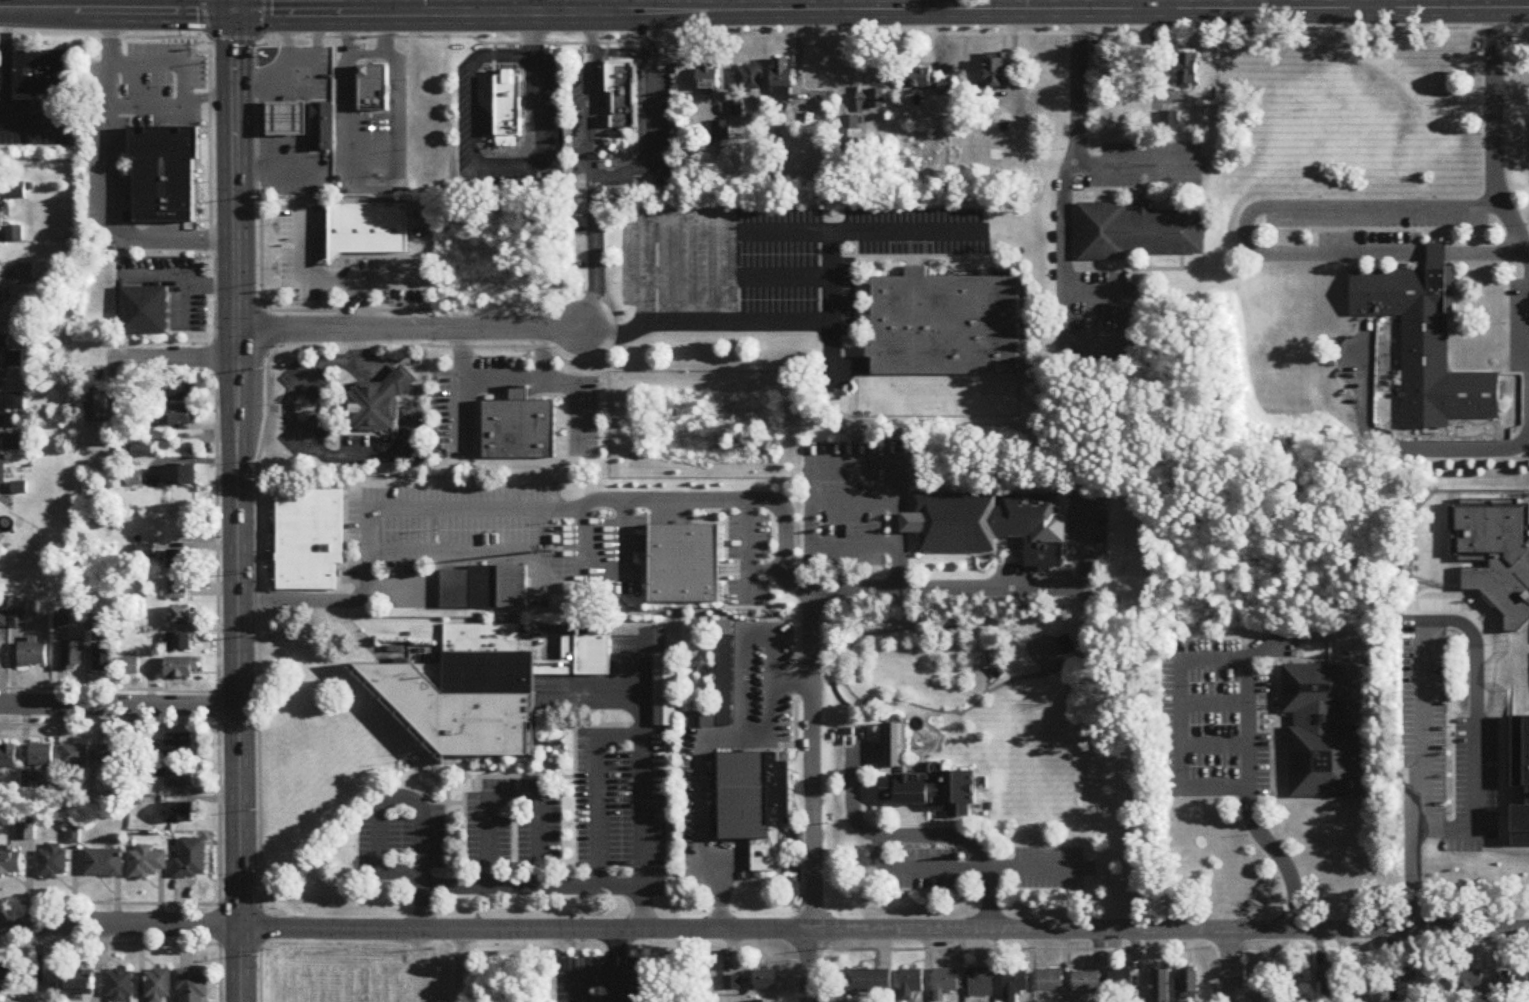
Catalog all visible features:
road: (818, 4)
road: (1154, 4)
road: (27, 5)
road: (130, 5)
road: (162, 5)
road: (331, 5)
road: (368, 5)
road: (538, 5)
road: (711, 5)
road: (764, 5)
road: (1375, 5)
road: (1087, 9)
traffic signals: (232, 11)
road: (323, 11)
road: (205, 18)
road: (259, 19)
road: (188, 24)
road: (672, 33)
road: (230, 36)
road: (313, 45)
road: (367, 53)
road: (4, 69)
building: (1187, 71)
building: (48, 73)
building: (997, 73)
road: (261, 77)
building: (749, 78)
building: (783, 78)
road: (247, 79)
building: (708, 79)
building: (371, 83)
road: (183, 84)
building: (933, 84)
building: (625, 92)
road: (207, 97)
building: (871, 99)
building: (508, 107)
building: (287, 118)
building: (1169, 120)
building: (322, 125)
building: (721, 132)
building: (849, 140)
road: (1494, 140)
road: (273, 161)
road: (1127, 163)
road: (497, 168)
building: (164, 172)
road: (1066, 174)
road: (611, 176)
road: (111, 181)
road: (372, 182)
building: (129, 216)
building: (1, 225)
road: (905, 231)
road: (803, 232)
building: (1135, 232)
building: (359, 237)
road: (1248, 244)
road: (593, 254)
road: (172, 277)
road: (324, 279)
road: (206, 285)
building: (1, 296)
road: (168, 303)
building: (143, 310)
building: (945, 326)
road: (406, 330)
road: (258, 332)
building: (3, 342)
building: (1426, 344)
road: (170, 357)
building: (14, 360)
building: (180, 391)
building: (16, 402)
building: (375, 403)
building: (96, 406)
road: (286, 410)
building: (181, 416)
road: (215, 417)
building: (518, 428)
building: (12, 442)
building: (139, 448)
road: (1392, 450)
road: (835, 458)
road: (257, 465)
building: (2, 471)
building: (181, 476)
building: (134, 480)
road: (237, 500)
road: (502, 504)
building: (981, 521)
building: (309, 540)
road: (753, 547)
building: (1032, 555)
building: (1494, 558)
building: (180, 560)
building: (484, 588)
building: (178, 590)
road: (973, 593)
building: (183, 616)
building: (180, 643)
road: (744, 644)
road: (1275, 644)
building: (32, 656)
building: (586, 656)
building: (73, 657)
building: (104, 659)
building: (132, 667)
building: (183, 669)
building: (1519, 676)
road: (1243, 677)
road: (1421, 679)
road: (611, 684)
building: (724, 687)
building: (665, 692)
building: (468, 693)
road: (120, 705)
building: (1321, 732)
building: (179, 746)
building: (894, 747)
building: (42, 756)
building: (76, 756)
building: (8, 757)
building: (111, 758)
road: (703, 759)
road: (812, 762)
building: (182, 778)
road: (597, 790)
building: (932, 792)
road: (517, 795)
road: (385, 799)
building: (757, 804)
building: (179, 814)
road: (916, 837)
building: (191, 859)
building: (53, 862)
building: (10, 863)
building: (103, 863)
building: (146, 863)
road: (918, 873)
road: (625, 881)
road: (643, 906)
road: (120, 925)
road: (885, 932)
road: (811, 967)
road: (1226, 967)
building: (3, 977)
building: (765, 981)
building: (868, 982)
building: (946, 982)
building: (1050, 982)
building: (77, 983)
building: (910, 984)
building: (980, 984)
building: (1014, 984)
building: (1086, 984)
building: (732, 985)
building: (1332, 985)
building: (1363, 985)
building: (1468, 985)
building: (119, 986)
building: (158, 986)
building: (1120, 986)
building: (1160, 986)
building: (1409, 986)
building: (1434, 986)
building: (1508, 986)
building: (193, 987)
building: (1189, 987)
building: (1269, 998)
building: (767, 1001)

